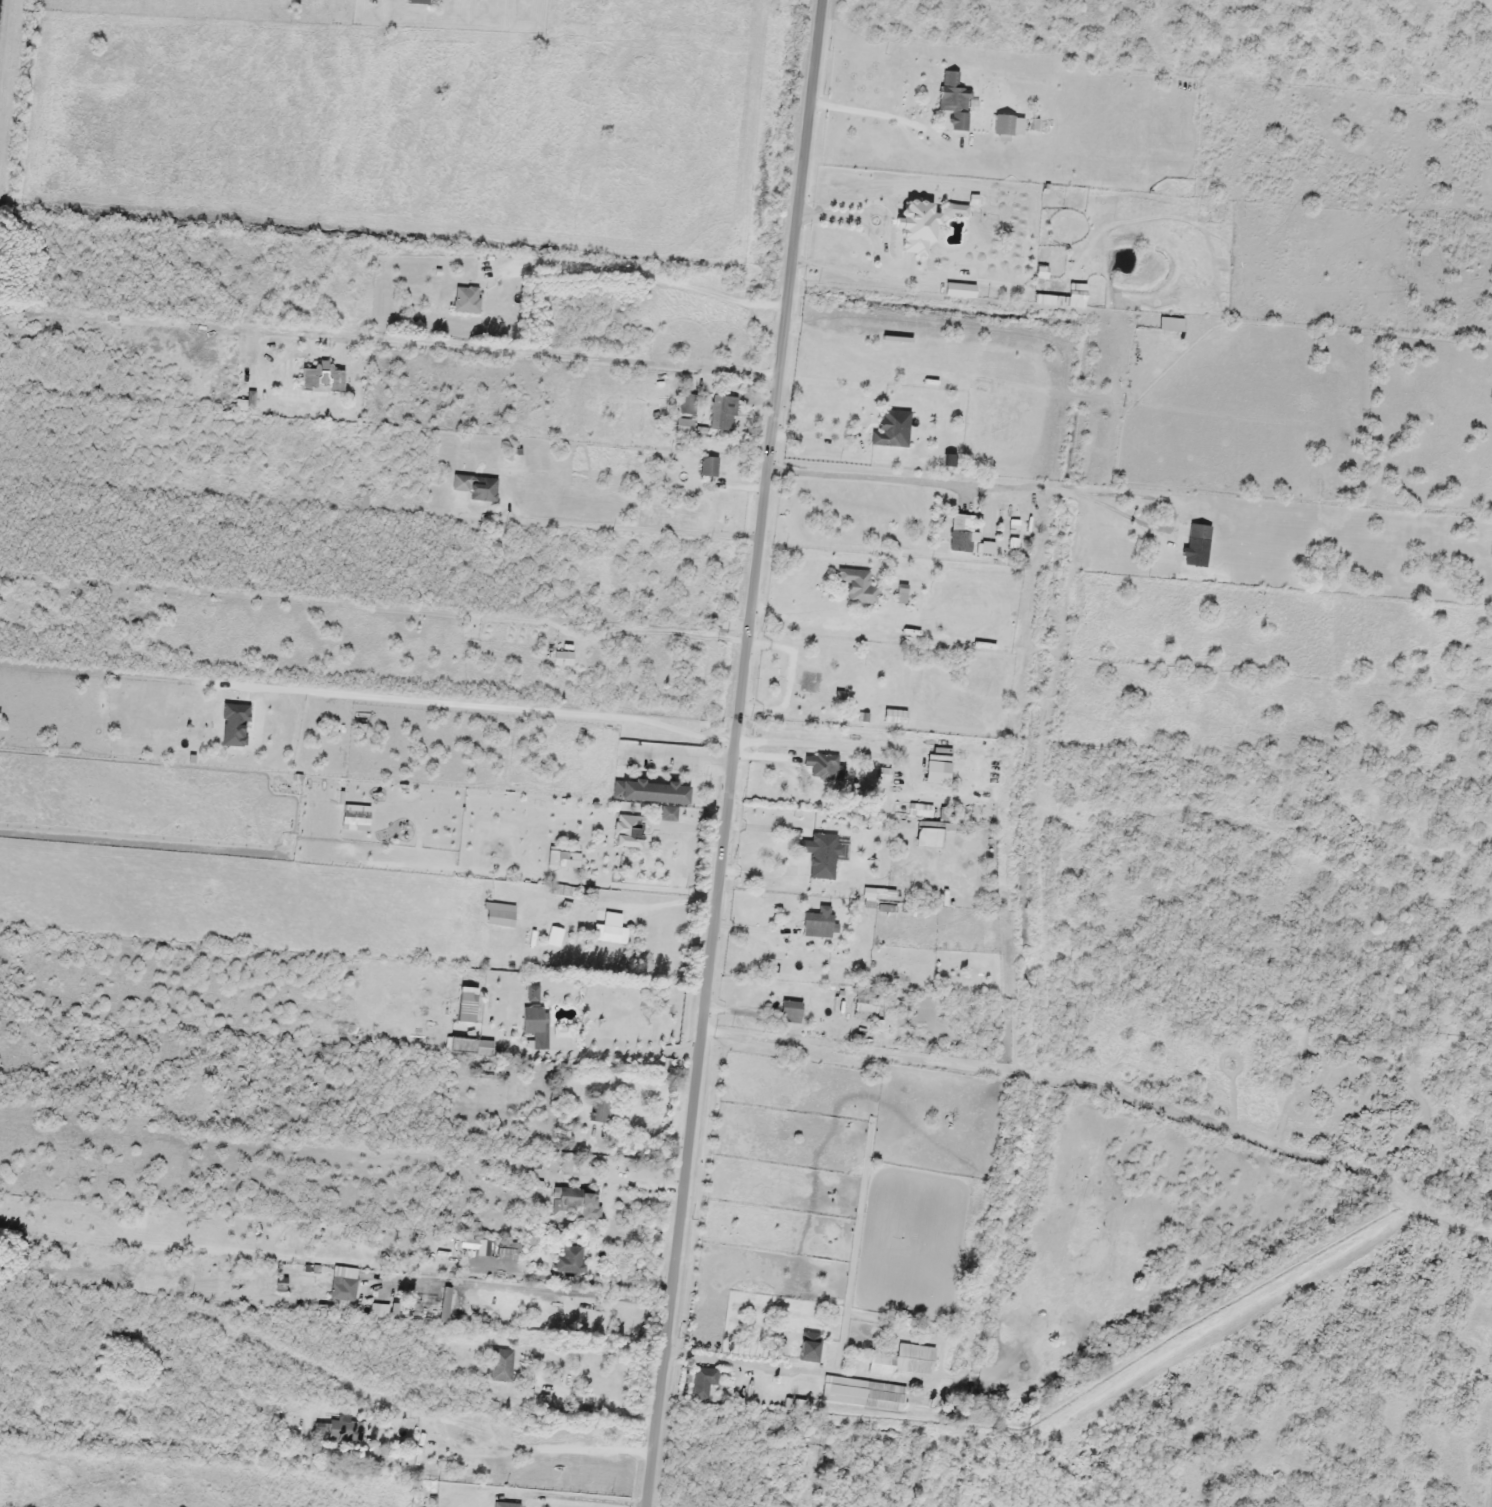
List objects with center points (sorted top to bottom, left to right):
building: (954, 100)
building: (1003, 125)
building: (916, 225)
building: (1070, 298)
building: (466, 300)
building: (1171, 323)
building: (321, 379)
building: (688, 404)
building: (722, 412)
building: (685, 426)
building: (889, 429)
building: (709, 466)
building: (477, 486)
building: (362, 503)
building: (961, 533)
building: (1197, 545)
building: (853, 584)
building: (810, 681)
road: (741, 753)
building: (820, 765)
building: (937, 771)
building: (927, 812)
building: (668, 813)
building: (628, 830)
building: (928, 837)
building: (820, 854)
building: (563, 859)
building: (561, 890)
building: (819, 922)
building: (610, 933)
building: (555, 936)
building: (865, 1004)
building: (790, 1011)
building: (535, 1025)
building: (483, 1047)
road: (941, 1101)
building: (602, 1111)
building: (485, 1157)
building: (574, 1200)
road: (617, 1278)
building: (221, 1281)
building: (343, 1288)
building: (809, 1347)
building: (902, 1360)
building: (501, 1365)
building: (704, 1381)
building: (864, 1393)
building: (329, 1429)
building: (506, 1505)

